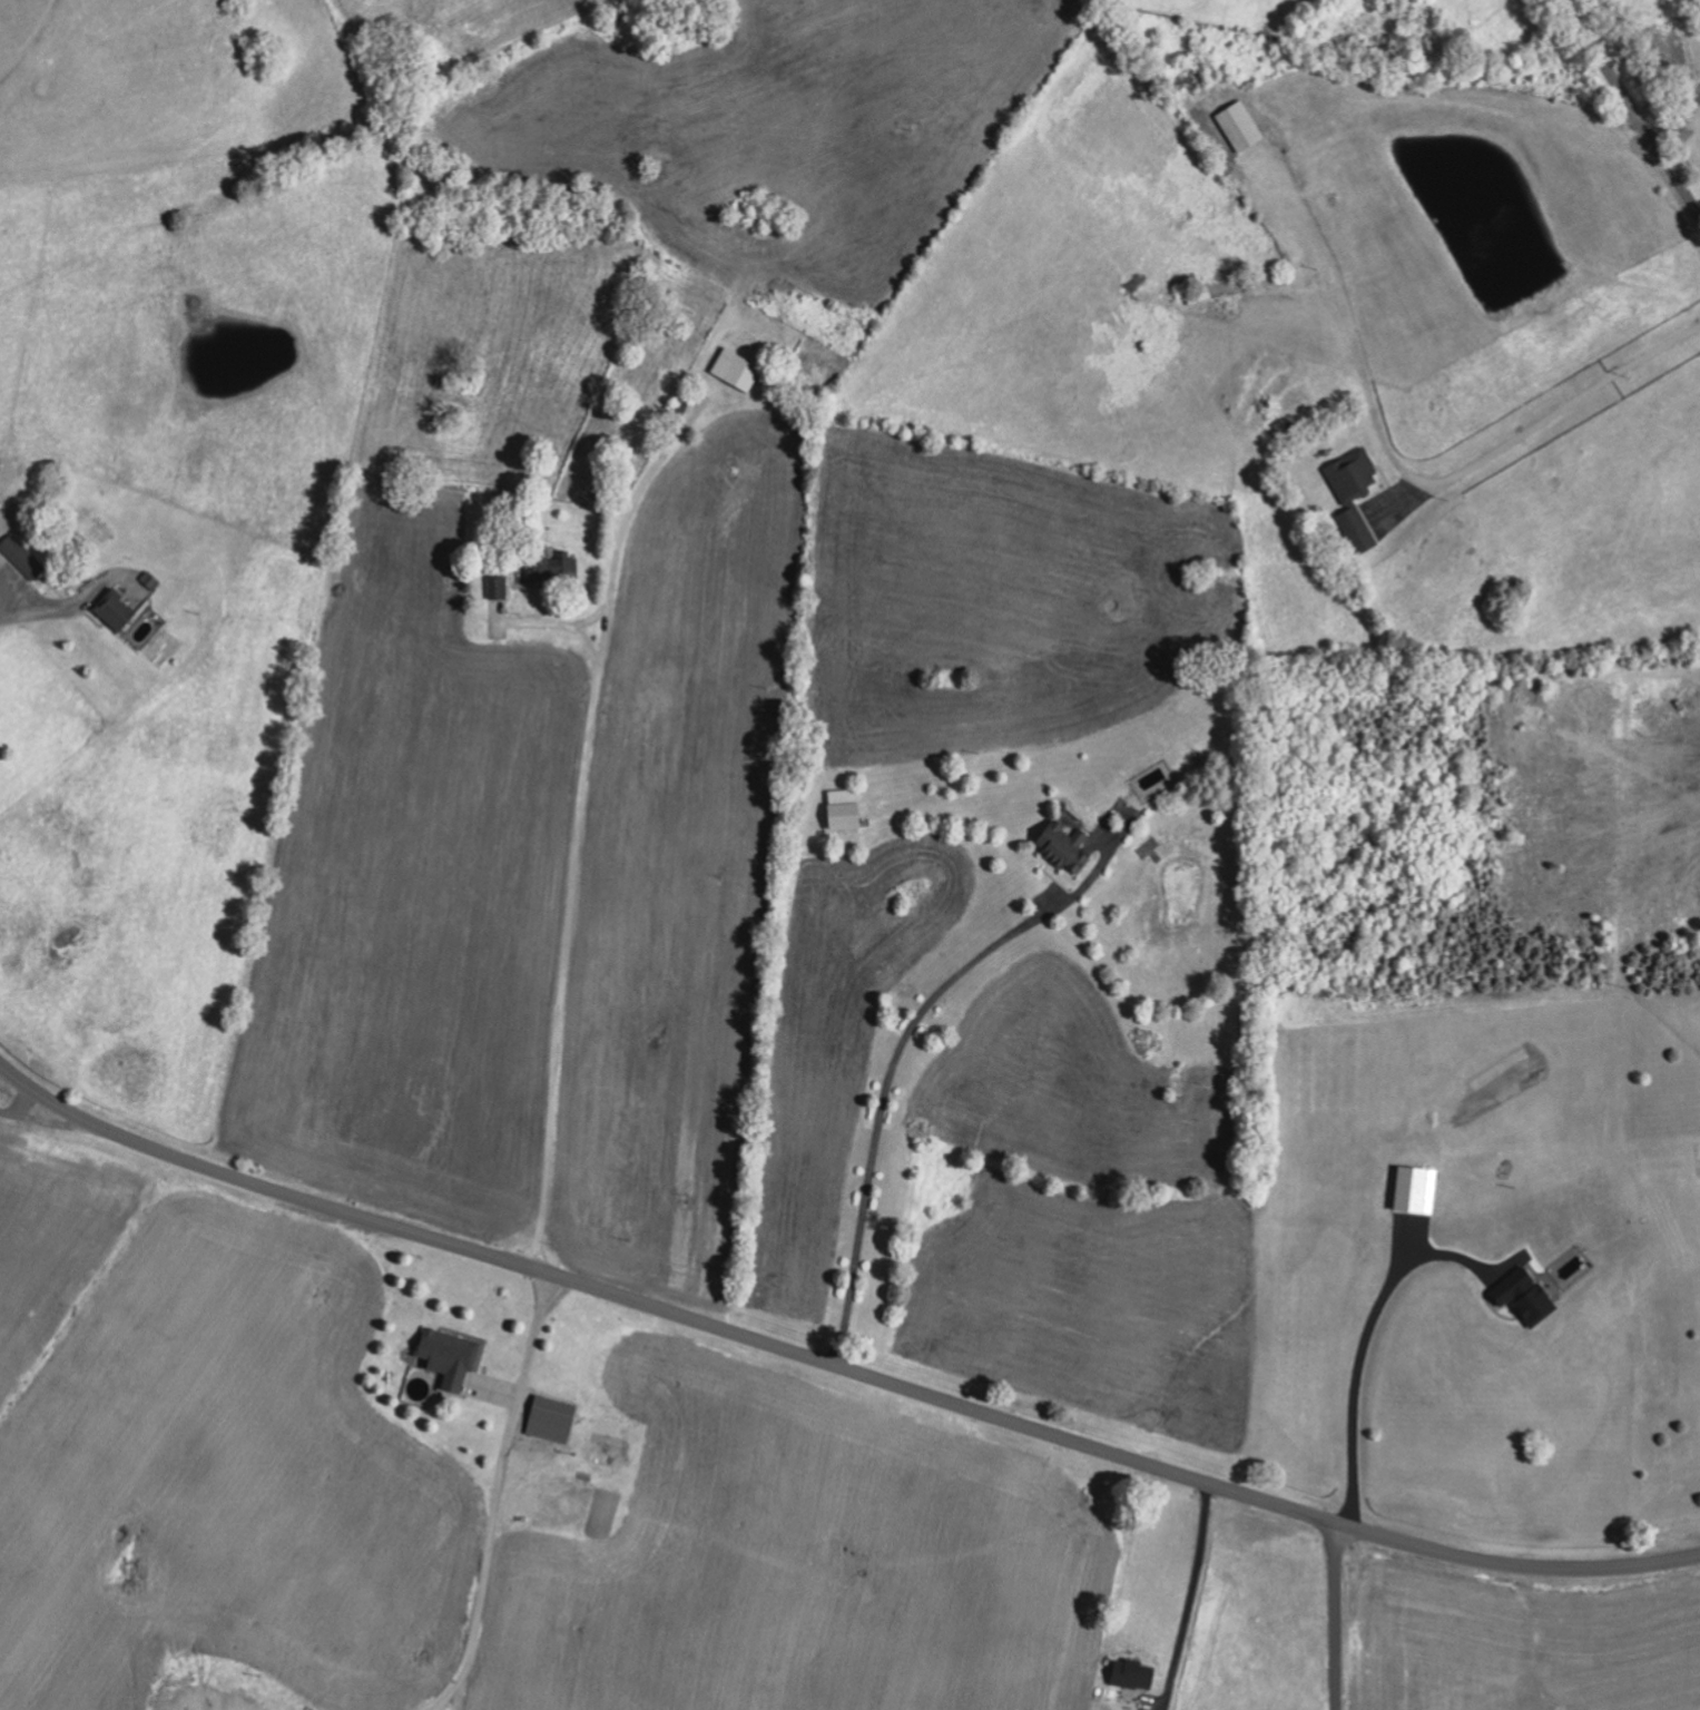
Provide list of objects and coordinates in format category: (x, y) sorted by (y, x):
road: (1633, 108)
road: (1679, 121)
building: (1240, 126)
building: (737, 368)
road: (1541, 421)
building: (1353, 475)
building: (1357, 530)
building: (22, 557)
building: (551, 567)
building: (498, 587)
building: (115, 609)
road: (36, 617)
building: (846, 809)
building: (1065, 847)
road: (569, 908)
road: (883, 1100)
road: (20, 1105)
building: (1416, 1190)
road: (1360, 1346)
building: (450, 1357)
road: (835, 1366)
building: (552, 1419)
building: (606, 1452)
road: (497, 1496)
road: (1190, 1596)
road: (1335, 1616)
building: (1134, 1673)

